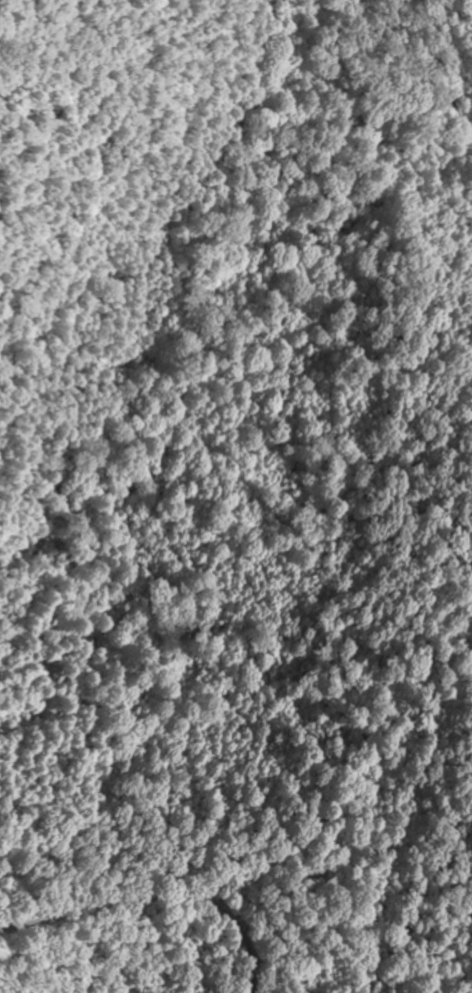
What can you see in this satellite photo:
road: (118, 901)
road: (272, 947)
road: (242, 952)

